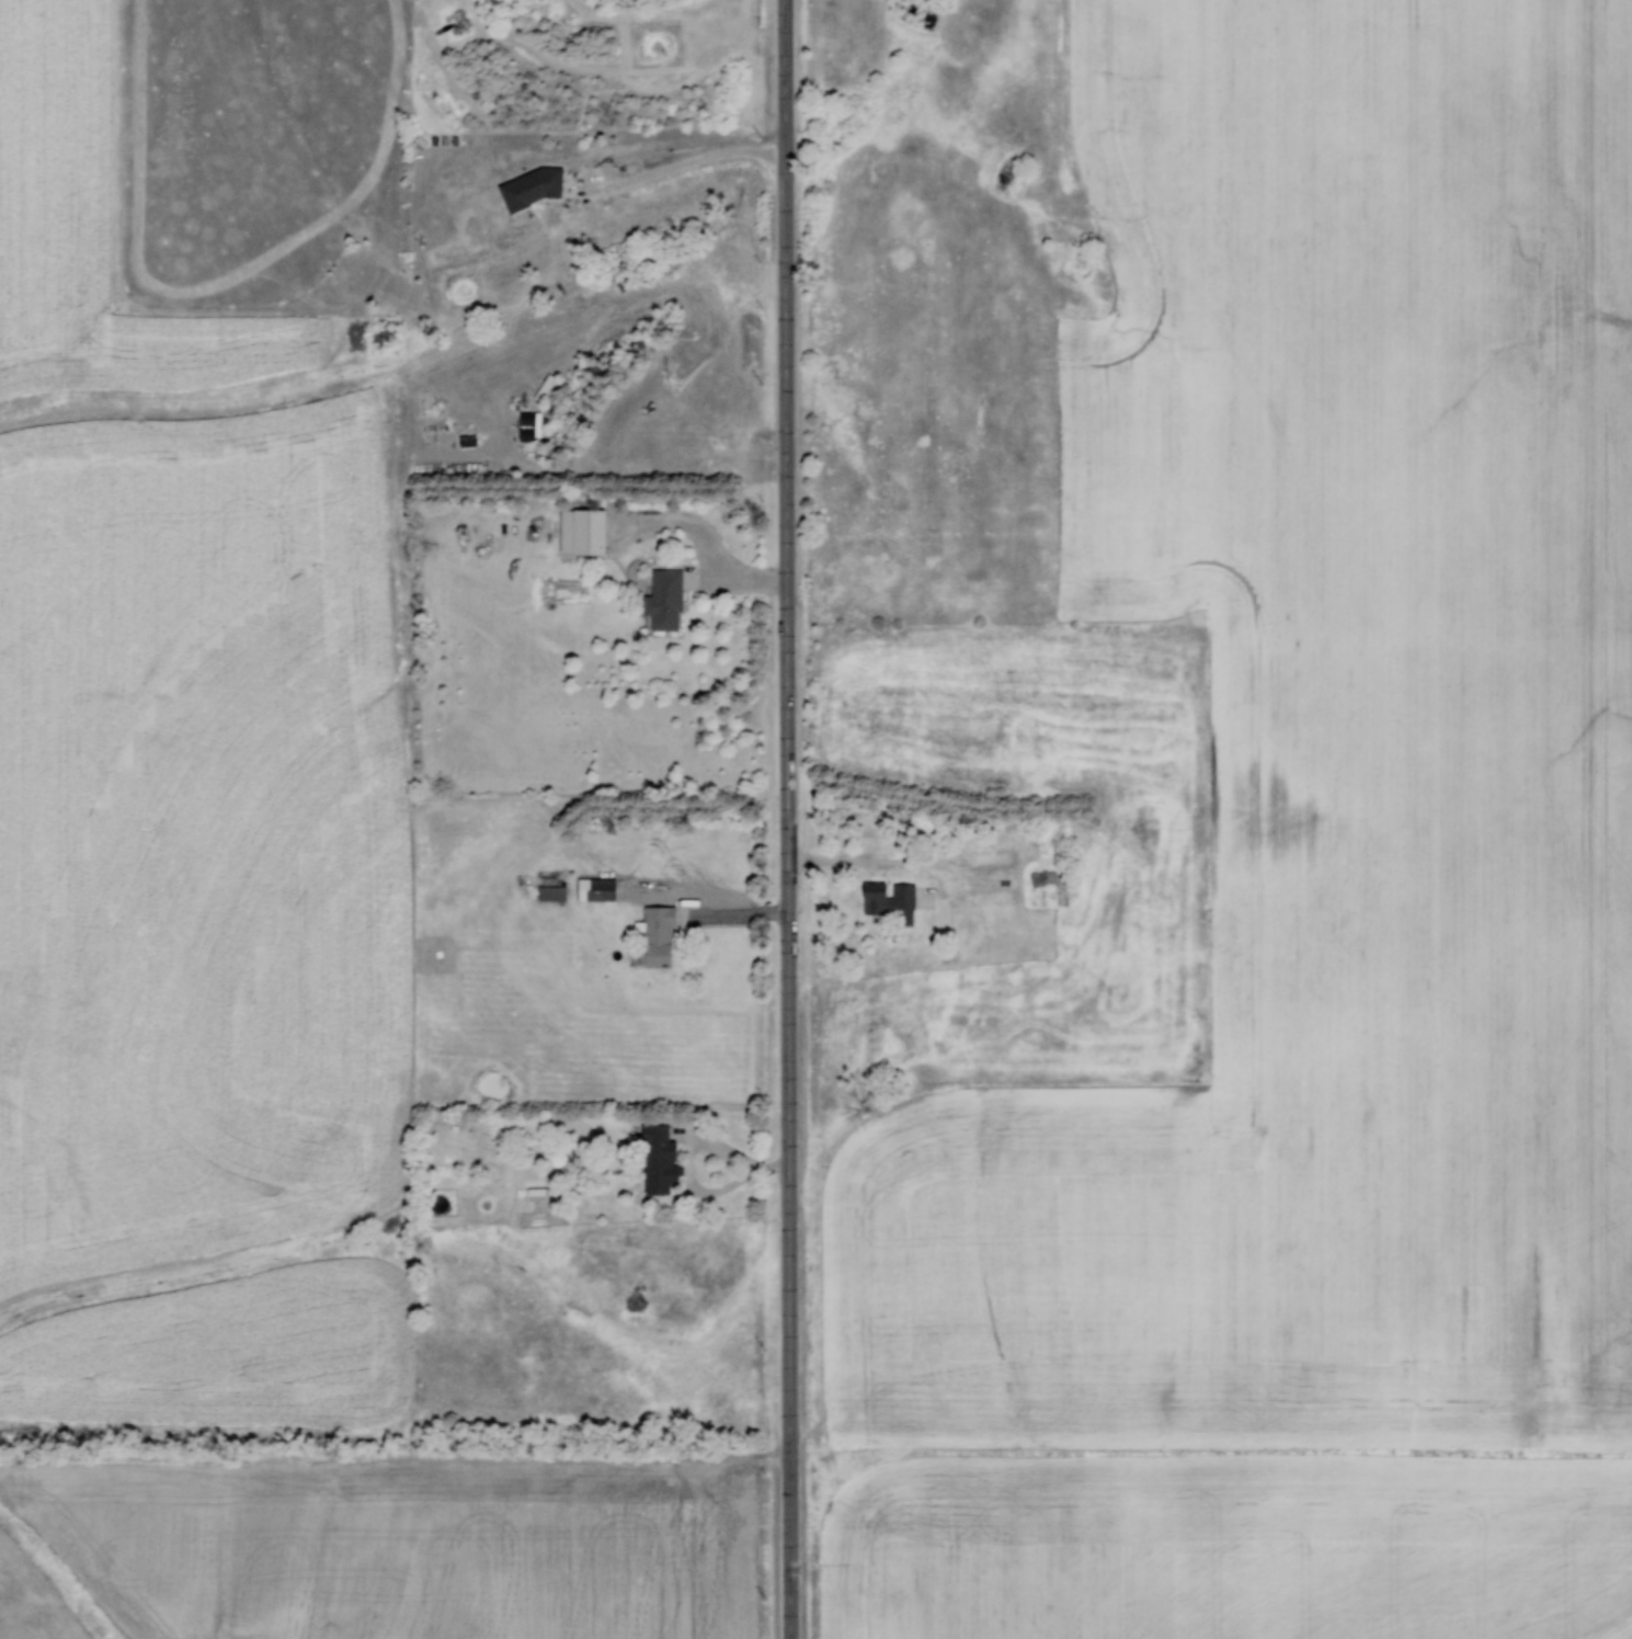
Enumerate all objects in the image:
road: (684, 151)
building: (579, 531)
road: (742, 576)
building: (662, 601)
road: (786, 819)
road: (876, 864)
building: (593, 888)
building: (550, 891)
building: (927, 897)
building: (889, 899)
building: (652, 937)
building: (520, 1126)
building: (658, 1161)

